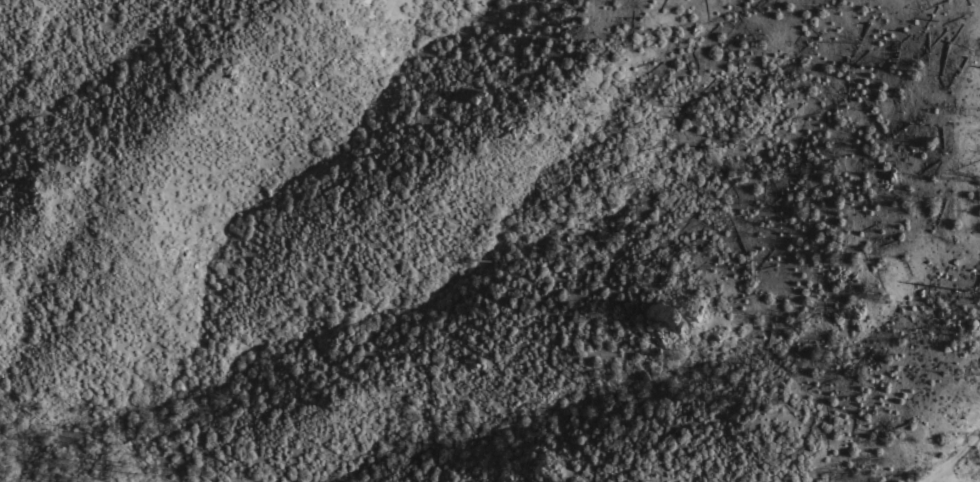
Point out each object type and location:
road: (953, 458)

